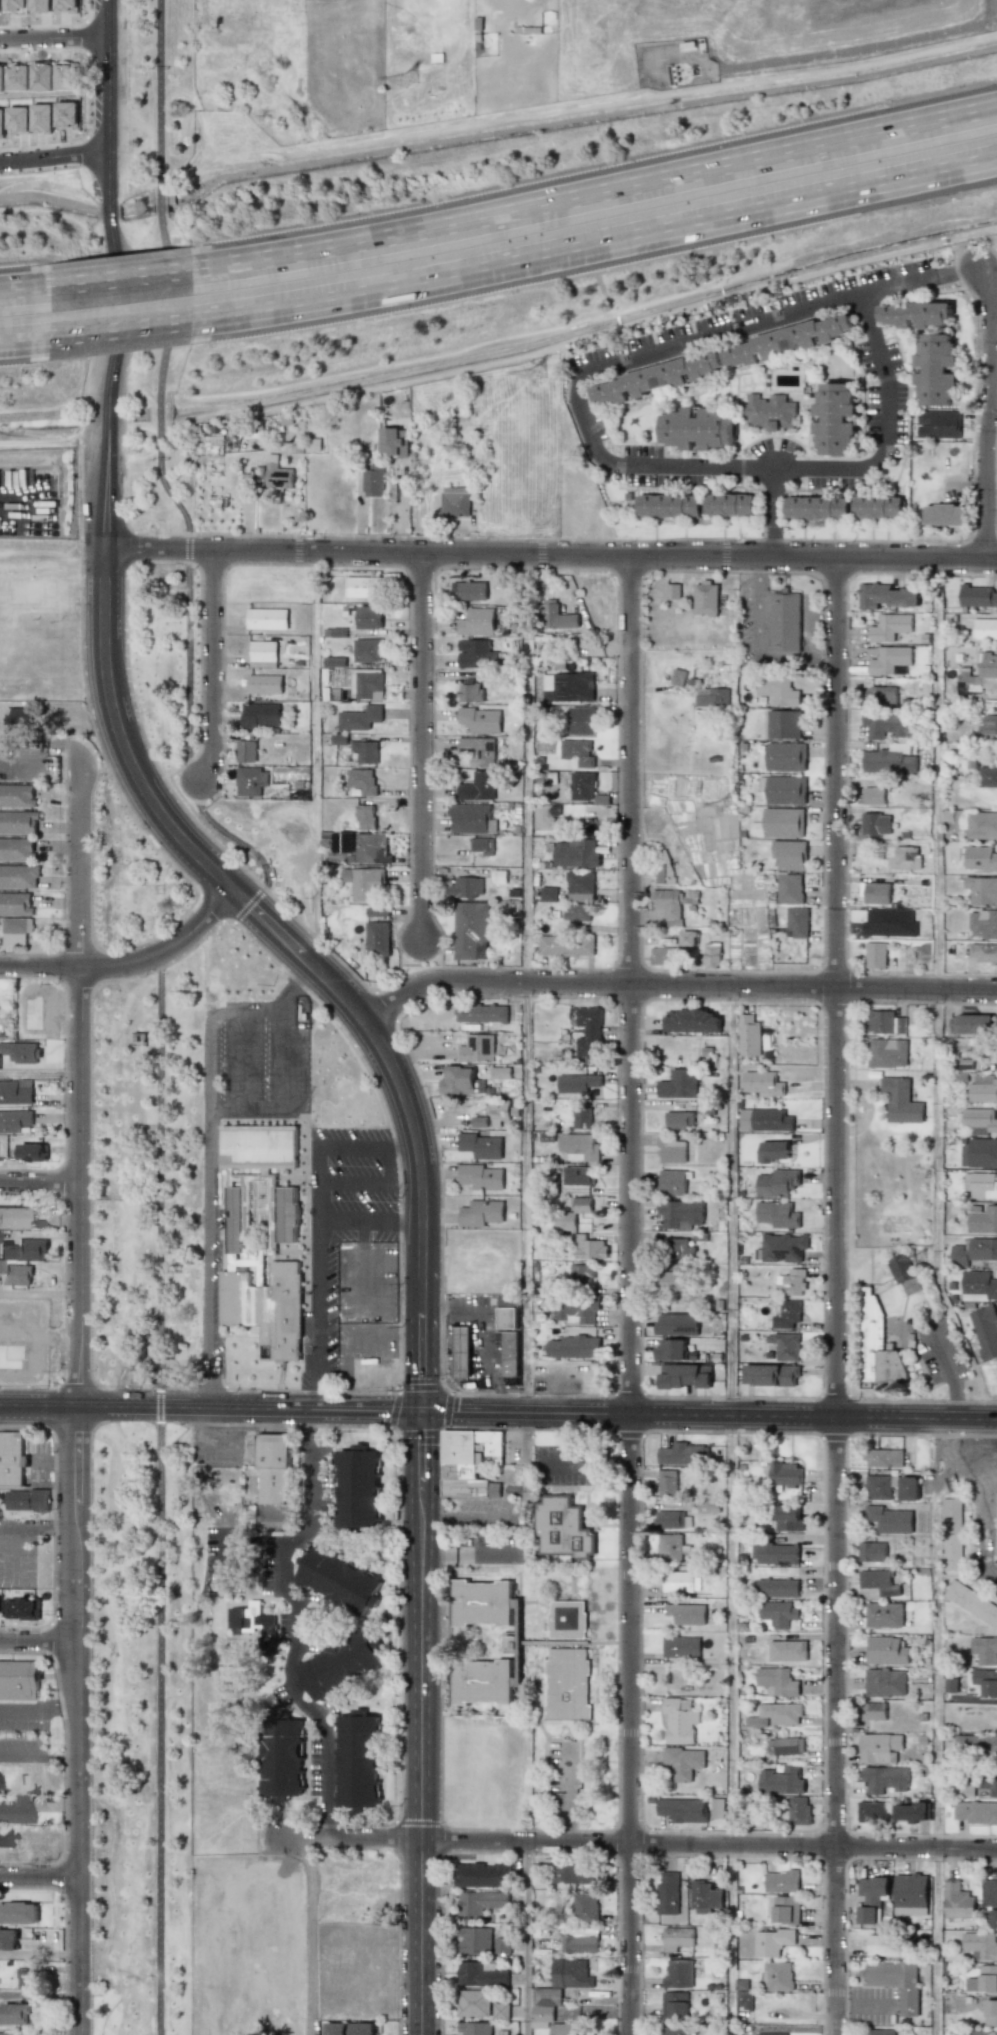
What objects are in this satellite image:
road: (995, 8)
road: (55, 41)
power tower: (411, 80)
road: (54, 162)
road: (602, 188)
road: (108, 201)
road: (736, 219)
road: (128, 270)
road: (957, 271)
road: (25, 282)
road: (992, 295)
road: (339, 301)
building: (917, 314)
road: (126, 335)
building: (782, 342)
road: (25, 345)
building: (937, 369)
power tower: (539, 372)
road: (595, 372)
building: (660, 378)
road: (988, 409)
building: (770, 412)
building: (836, 419)
building: (938, 424)
building: (698, 428)
road: (884, 434)
building: (394, 441)
road: (53, 442)
road: (105, 475)
building: (278, 476)
building: (255, 478)
building: (372, 481)
building: (455, 501)
building: (730, 504)
building: (669, 505)
building: (879, 507)
building: (818, 508)
building: (945, 514)
road: (186, 520)
road: (549, 552)
road: (398, 566)
road: (760, 566)
road: (529, 567)
building: (363, 587)
building: (472, 590)
building: (673, 591)
building: (885, 596)
building: (978, 596)
building: (706, 599)
building: (556, 616)
building: (370, 617)
building: (267, 619)
building: (477, 622)
building: (786, 622)
building: (890, 627)
building: (985, 629)
road: (812, 631)
road: (760, 645)
road: (201, 647)
building: (368, 650)
building: (261, 654)
building: (476, 654)
building: (889, 660)
road: (826, 661)
road: (212, 664)
road: (128, 673)
building: (979, 673)
building: (264, 684)
building: (366, 684)
building: (568, 687)
building: (469, 692)
building: (781, 692)
building: (881, 696)
building: (712, 697)
building: (260, 715)
building: (19, 716)
building: (359, 718)
building: (480, 720)
building: (582, 721)
building: (784, 724)
building: (885, 724)
building: (989, 725)
road: (314, 735)
road: (420, 745)
building: (246, 750)
building: (480, 750)
building: (366, 751)
building: (577, 752)
road: (102, 754)
building: (786, 756)
building: (890, 759)
road: (526, 767)
building: (289, 772)
building: (988, 777)
building: (250, 780)
building: (362, 780)
building: (583, 785)
building: (478, 787)
building: (783, 789)
building: (16, 795)
building: (874, 795)
power tower: (726, 805)
building: (545, 816)
building: (364, 817)
building: (471, 818)
building: (18, 822)
building: (780, 823)
building: (875, 824)
building: (981, 825)
building: (338, 841)
building: (481, 845)
building: (372, 848)
building: (16, 849)
building: (576, 853)
building: (790, 854)
building: (910, 855)
building: (980, 858)
building: (664, 866)
road: (66, 875)
building: (19, 876)
building: (499, 876)
building: (364, 882)
building: (466, 887)
building: (790, 888)
building: (580, 889)
building: (982, 890)
building: (875, 893)
building: (548, 894)
road: (940, 896)
building: (673, 903)
building: (15, 904)
building: (377, 912)
building: (577, 912)
road: (290, 913)
building: (797, 922)
building: (890, 922)
building: (983, 924)
building: (470, 930)
building: (16, 931)
building: (689, 938)
building: (378, 939)
building: (566, 945)
building: (984, 952)
building: (663, 955)
building: (712, 955)
building: (876, 955)
road: (307, 958)
road: (129, 964)
road: (521, 968)
road: (122, 979)
road: (675, 986)
road: (301, 989)
road: (225, 1010)
road: (262, 1010)
building: (480, 1013)
building: (691, 1021)
building: (886, 1022)
building: (973, 1024)
building: (589, 1031)
building: (748, 1036)
building: (477, 1048)
building: (21, 1051)
building: (888, 1053)
road: (210, 1057)
road: (285, 1057)
road: (242, 1058)
building: (500, 1072)
road: (40, 1074)
building: (461, 1081)
building: (577, 1083)
building: (763, 1083)
building: (679, 1084)
building: (983, 1089)
building: (16, 1092)
building: (901, 1101)
road: (227, 1104)
road: (265, 1105)
building: (499, 1112)
building: (582, 1116)
building: (14, 1120)
building: (679, 1120)
building: (765, 1120)
building: (979, 1121)
road: (401, 1135)
road: (353, 1145)
building: (258, 1146)
building: (480, 1146)
building: (579, 1146)
building: (672, 1150)
building: (772, 1151)
building: (32, 1152)
building: (979, 1152)
road: (389, 1165)
building: (578, 1175)
building: (481, 1177)
road: (40, 1181)
building: (672, 1182)
building: (777, 1183)
building: (979, 1185)
road: (353, 1187)
building: (583, 1205)
building: (282, 1210)
building: (481, 1213)
building: (680, 1214)
building: (777, 1214)
building: (11, 1218)
building: (234, 1219)
building: (983, 1220)
road: (357, 1221)
road: (410, 1221)
building: (566, 1221)
road: (212, 1241)
building: (588, 1247)
building: (783, 1247)
building: (678, 1249)
building: (25, 1250)
building: (973, 1251)
road: (526, 1252)
power tower: (923, 1260)
road: (315, 1264)
building: (0, 1266)
building: (581, 1274)
building: (905, 1274)
building: (17, 1275)
building: (671, 1281)
building: (791, 1283)
building: (978, 1286)
road: (40, 1293)
road: (632, 1294)
road: (839, 1294)
building: (266, 1308)
road: (451, 1308)
building: (575, 1310)
building: (787, 1314)
building: (508, 1317)
building: (677, 1324)
road: (480, 1329)
building: (985, 1331)
building: (877, 1345)
building: (787, 1346)
building: (573, 1347)
road: (488, 1348)
building: (671, 1350)
building: (461, 1351)
building: (510, 1354)
building: (597, 1372)
building: (771, 1374)
building: (685, 1375)
road: (954, 1375)
road: (496, 1380)
road: (213, 1392)
road: (315, 1396)
road: (78, 1399)
road: (211, 1407)
road: (710, 1414)
road: (198, 1444)
building: (684, 1454)
building: (884, 1458)
building: (12, 1459)
road: (53, 1461)
building: (469, 1462)
road: (549, 1464)
building: (272, 1468)
building: (785, 1474)
building: (667, 1483)
building: (878, 1487)
building: (909, 1488)
building: (358, 1489)
building: (26, 1500)
road: (159, 1505)
building: (708, 1507)
road: (734, 1511)
road: (464, 1514)
building: (788, 1518)
building: (670, 1519)
building: (889, 1519)
road: (36, 1523)
building: (562, 1528)
building: (951, 1534)
building: (669, 1548)
road: (17, 1550)
road: (465, 1551)
building: (872, 1551)
building: (775, 1553)
building: (340, 1580)
building: (678, 1581)
building: (879, 1582)
building: (777, 1587)
building: (481, 1602)
building: (972, 1603)
building: (21, 1608)
building: (686, 1613)
building: (779, 1613)
building: (883, 1615)
building: (567, 1619)
building: (254, 1622)
road: (295, 1623)
road: (37, 1640)
building: (509, 1643)
building: (681, 1647)
building: (787, 1650)
building: (985, 1650)
building: (885, 1651)
building: (340, 1665)
building: (19, 1680)
building: (986, 1681)
building: (482, 1682)
building: (777, 1682)
building: (885, 1682)
building: (567, 1683)
road: (38, 1709)
building: (875, 1711)
building: (776, 1715)
building: (680, 1720)
road: (423, 1722)
road: (942, 1726)
building: (976, 1744)
building: (786, 1745)
building: (880, 1747)
road: (39, 1757)
building: (281, 1758)
building: (358, 1762)
building: (683, 1762)
building: (885, 1779)
building: (781, 1781)
building: (988, 1781)
building: (964, 1789)
building: (683, 1810)
building: (799, 1810)
building: (15, 1811)
building: (873, 1811)
building: (911, 1812)
building: (976, 1812)
building: (4, 1837)
road: (626, 1842)
building: (572, 1873)
building: (482, 1875)
road: (39, 1876)
building: (782, 1881)
building: (911, 1890)
building: (990, 1892)
building: (668, 1893)
building: (871, 1897)
building: (706, 1898)
building: (957, 1900)
building: (481, 1902)
building: (585, 1907)
building: (786, 1910)
building: (18, 1913)
building: (993, 1919)
road: (306, 1934)
road: (527, 1938)
building: (677, 1938)
building: (8, 1939)
building: (474, 1940)
building: (579, 1940)
building: (772, 1942)
building: (502, 1945)
building: (886, 1945)
building: (980, 1945)
building: (678, 1973)
building: (570, 1974)
building: (480, 1975)
building: (779, 1975)
building: (26, 1977)
building: (988, 1978)
building: (897, 1982)
road: (39, 1996)
building: (547, 1996)
building: (744, 1999)
building: (473, 2003)
building: (675, 2005)
road: (864, 2005)
building: (501, 2010)
building: (990, 2012)
building: (16, 2014)
building: (542, 2017)
building: (336, 2028)
building: (363, 2028)
building: (474, 2028)
building: (565, 2029)
building: (676, 2031)
building: (880, 2032)
building: (16, 2033)
building: (770, 2034)

